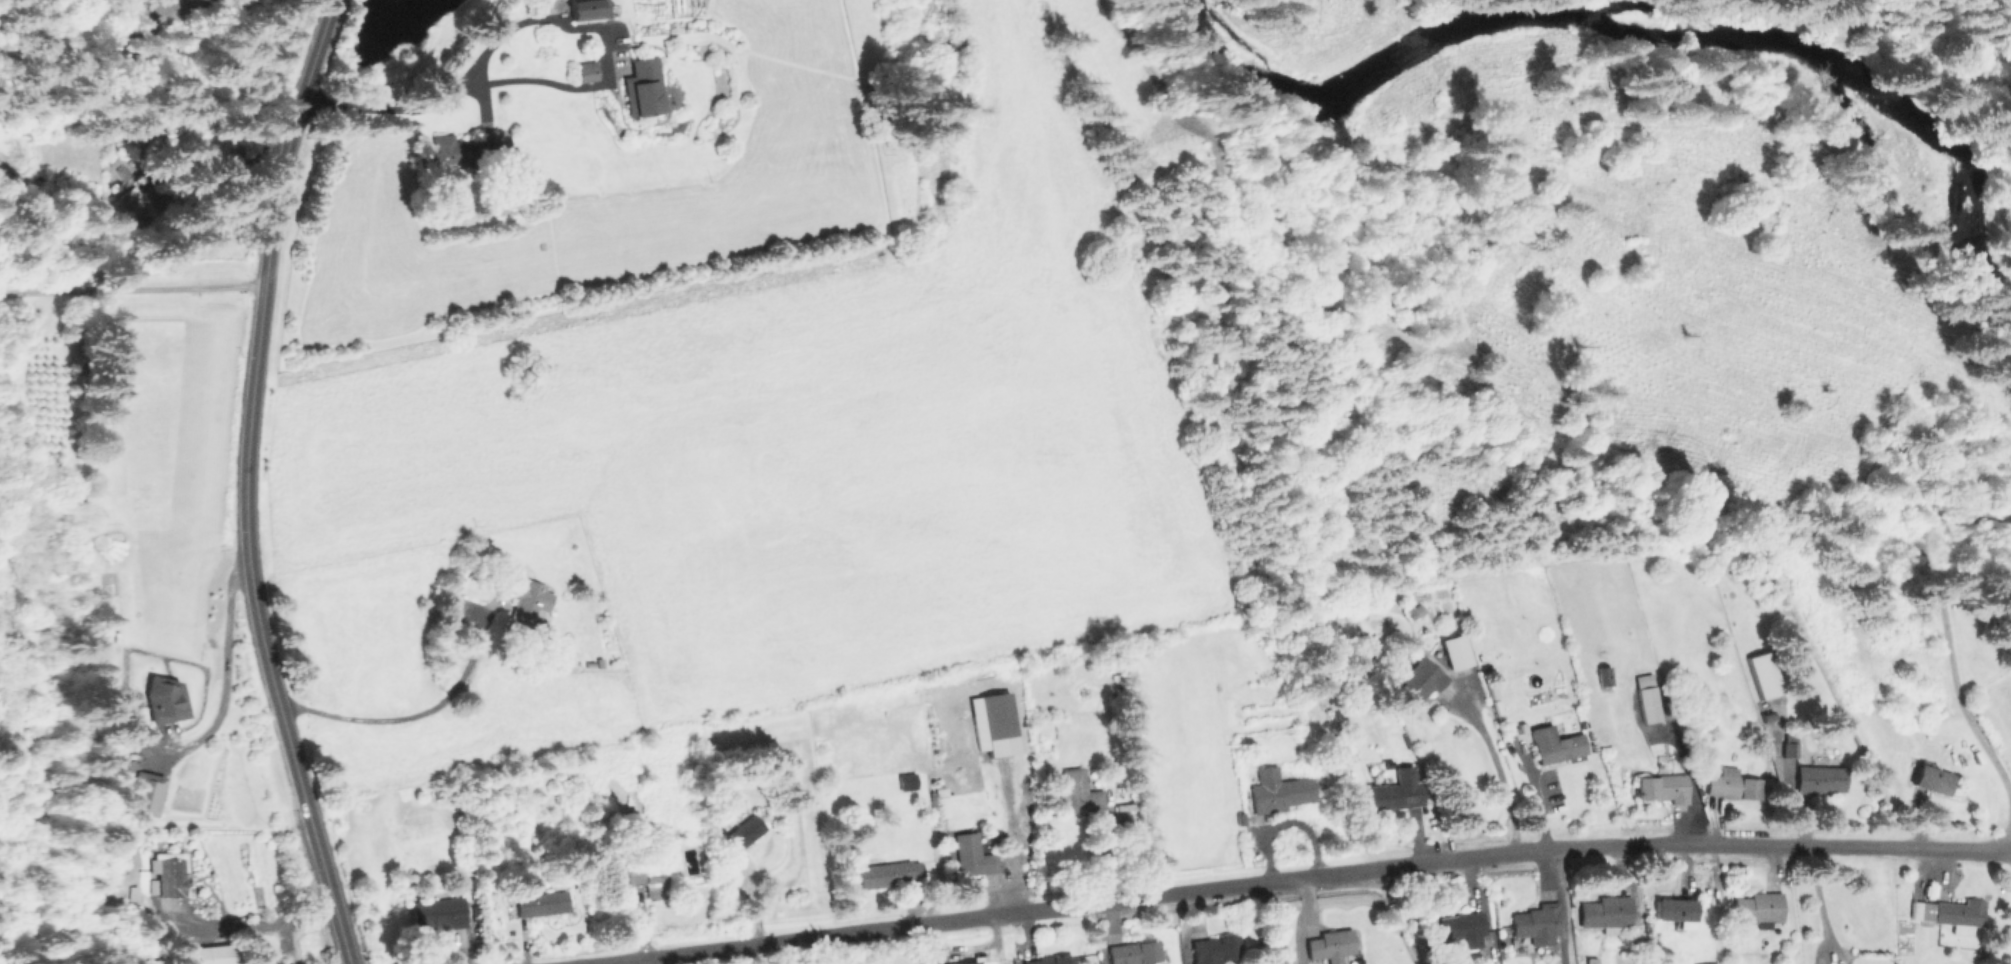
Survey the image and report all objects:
road: (206, 4)
building: (149, 8)
building: (591, 9)
building: (588, 72)
road: (464, 77)
building: (645, 88)
building: (150, 136)
building: (465, 149)
building: (135, 204)
building: (1641, 211)
road: (1237, 217)
road: (132, 289)
road: (244, 483)
building: (1924, 541)
building: (527, 606)
building: (1415, 611)
building: (1489, 626)
building: (1457, 652)
road: (1948, 658)
building: (1765, 675)
building: (1606, 676)
building: (1421, 683)
building: (163, 699)
building: (1649, 699)
building: (1768, 716)
building: (995, 717)
road: (404, 719)
road: (136, 732)
building: (1556, 745)
building: (1345, 746)
building: (1791, 746)
building: (1025, 769)
road: (1498, 769)
building: (972, 777)
road: (1685, 779)
building: (1933, 779)
building: (1822, 780)
building: (909, 782)
building: (1732, 784)
building: (1657, 787)
building: (1280, 791)
building: (1081, 792)
building: (1396, 792)
road: (1532, 792)
building: (147, 794)
building: (942, 802)
road: (1791, 805)
building: (1242, 819)
road: (1285, 822)
road: (1011, 830)
building: (743, 834)
road: (1416, 835)
building: (604, 848)
building: (974, 856)
building: (886, 874)
building: (169, 875)
road: (1303, 876)
building: (649, 879)
road: (754, 897)
road: (1819, 902)
building: (542, 905)
road: (1482, 907)
building: (1760, 909)
building: (1676, 912)
building: (1607, 913)
building: (441, 914)
building: (1952, 915)
road: (1300, 920)
building: (1539, 922)
road: (642, 923)
road: (240, 927)
road: (1188, 927)
building: (1454, 931)
building: (1332, 946)
building: (1216, 950)
building: (1135, 953)
building: (209, 955)
building: (1055, 960)
road: (648, 961)
building: (1709, 962)
building: (972, 963)

